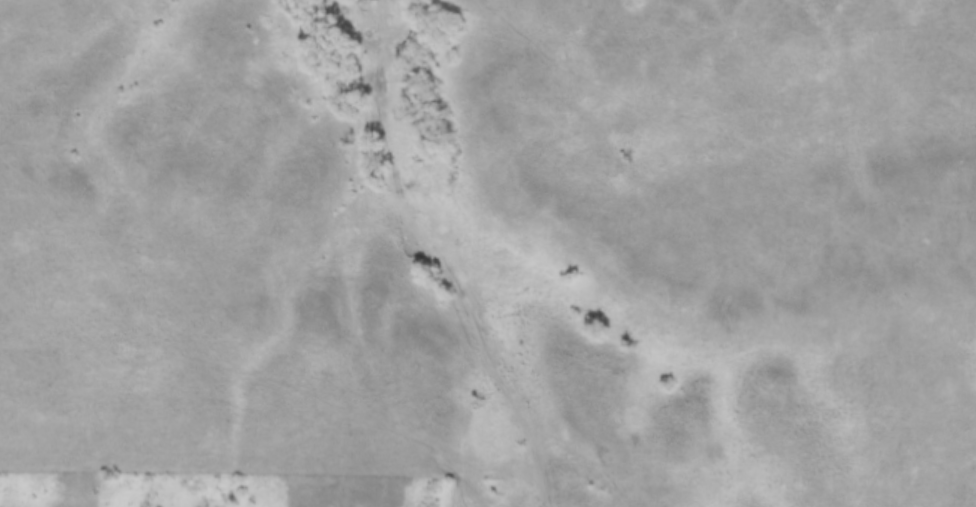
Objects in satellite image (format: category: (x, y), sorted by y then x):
road: (441, 257)

